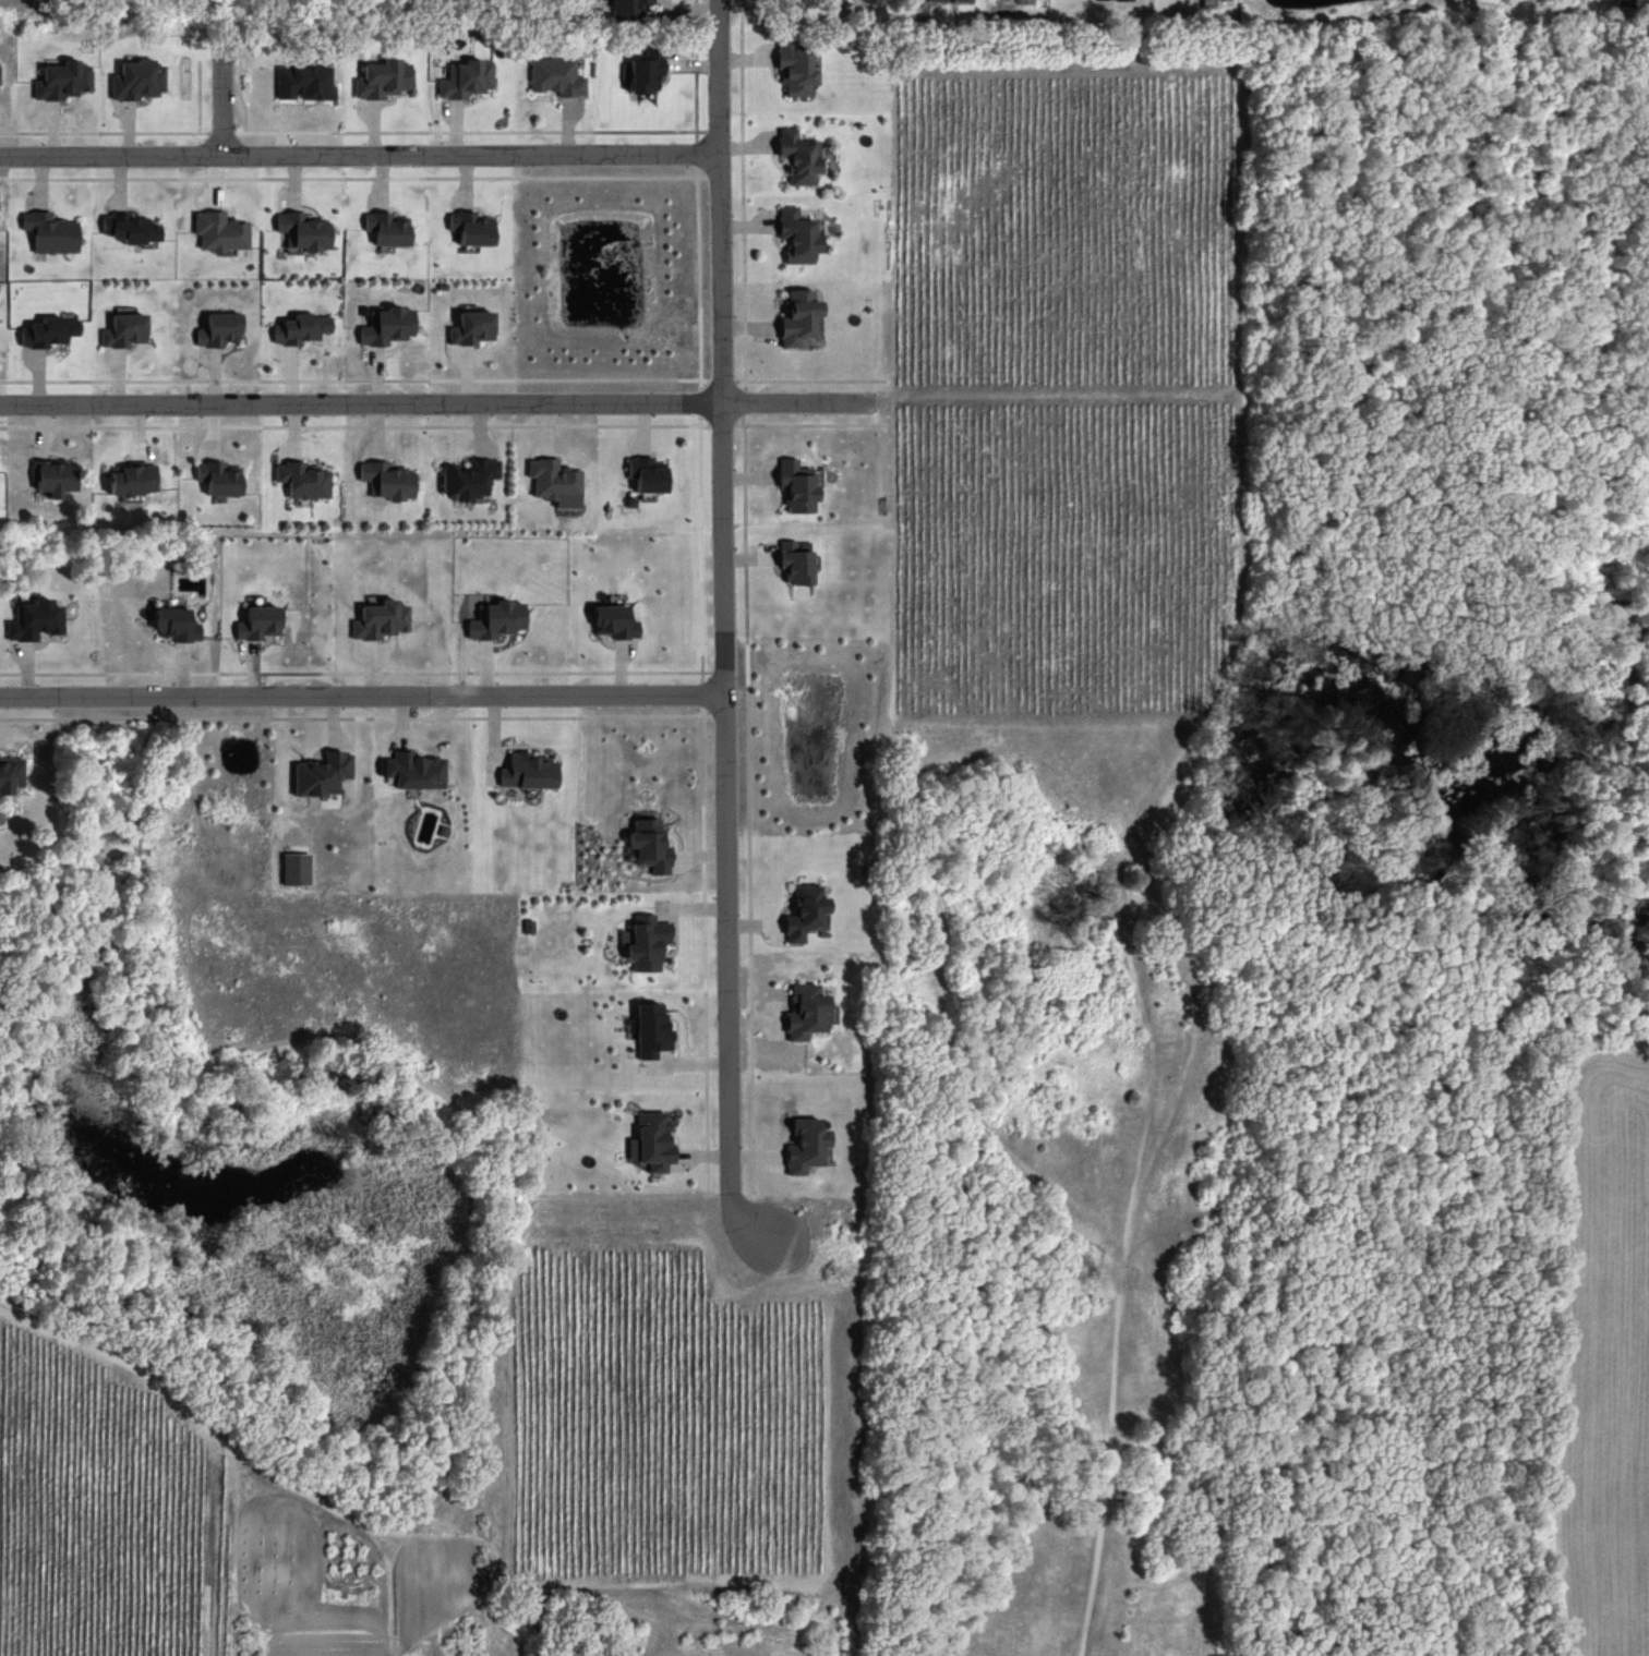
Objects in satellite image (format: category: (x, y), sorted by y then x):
building: (858, 0)
building: (1027, 0)
building: (1212, 0)
building: (879, 2)
building: (1126, 2)
building: (966, 3)
building: (1632, 7)
building: (628, 13)
road: (696, 69)
building: (646, 71)
building: (798, 73)
building: (137, 78)
building: (558, 80)
building: (383, 82)
building: (62, 83)
building: (468, 83)
building: (306, 84)
road: (225, 108)
road: (104, 130)
road: (220, 130)
road: (469, 130)
road: (724, 137)
road: (747, 145)
road: (697, 153)
road: (361, 157)
road: (724, 160)
building: (801, 161)
road: (352, 176)
road: (743, 194)
building: (134, 227)
building: (387, 227)
building: (471, 227)
building: (303, 229)
building: (219, 230)
building: (51, 231)
building: (802, 242)
road: (698, 277)
building: (799, 322)
building: (388, 324)
building: (472, 326)
building: (302, 327)
building: (220, 328)
building: (125, 329)
building: (50, 330)
road: (354, 378)
road: (722, 379)
road: (810, 379)
road: (700, 400)
road: (744, 401)
road: (440, 407)
road: (722, 423)
road: (811, 423)
road: (354, 424)
building: (648, 473)
building: (470, 475)
building: (220, 476)
building: (135, 478)
building: (304, 479)
building: (388, 479)
building: (53, 481)
building: (797, 484)
road: (701, 546)
building: (796, 561)
building: (36, 618)
building: (380, 618)
building: (495, 618)
building: (614, 619)
building: (258, 621)
building: (178, 622)
road: (726, 627)
road: (363, 670)
road: (702, 692)
road: (362, 694)
road: (362, 716)
building: (416, 769)
building: (528, 770)
building: (11, 773)
building: (324, 773)
road: (748, 801)
building: (651, 844)
building: (298, 868)
building: (805, 911)
building: (649, 943)
road: (705, 946)
building: (805, 1010)
building: (652, 1029)
building: (654, 1139)
building: (805, 1145)

